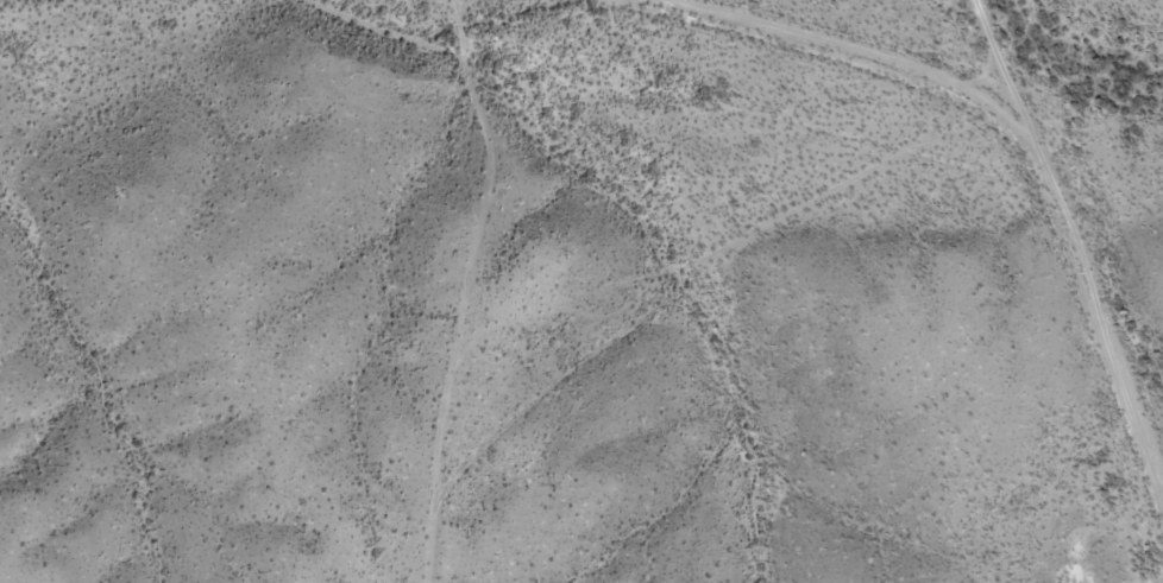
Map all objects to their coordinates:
road: (1079, 237)

